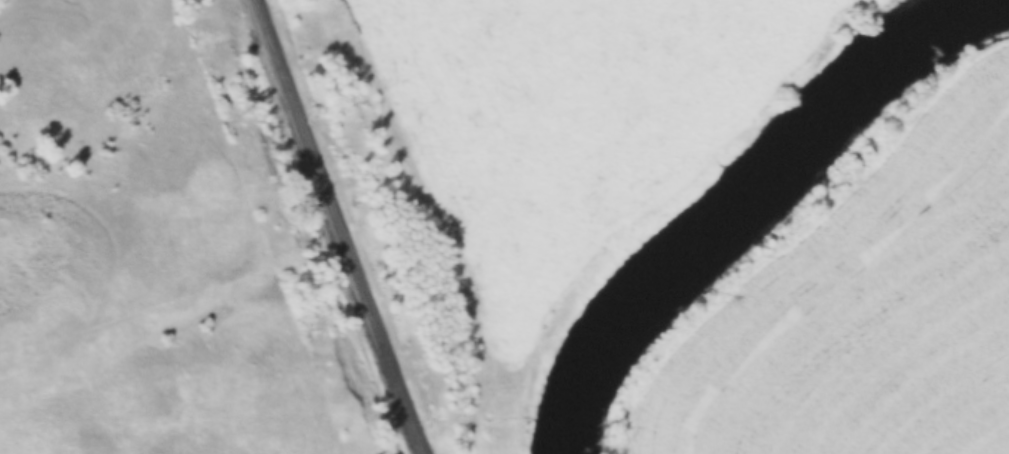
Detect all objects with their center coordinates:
river: (725, 205)
railway: (328, 227)

